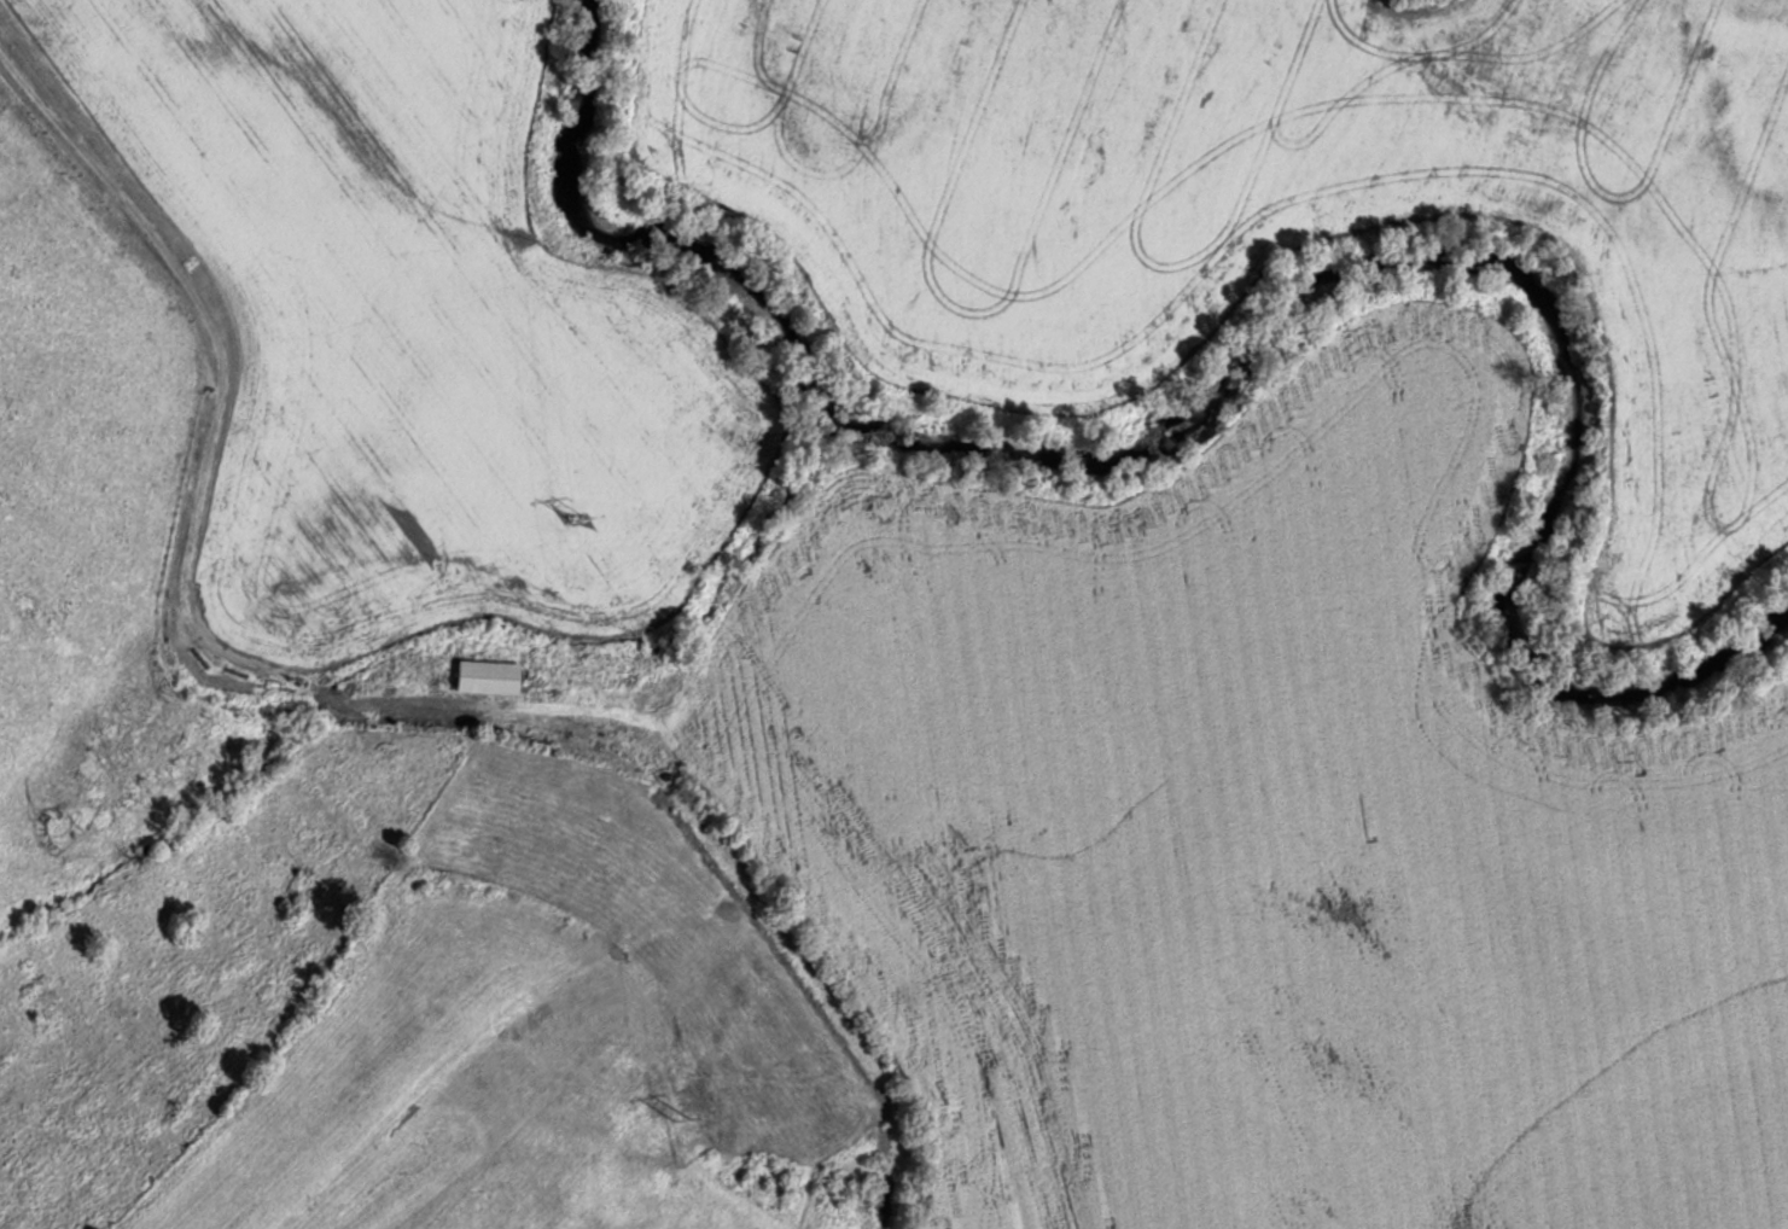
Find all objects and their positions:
power tower: (573, 514)
building: (484, 677)
road: (582, 721)
power tower: (680, 1120)

